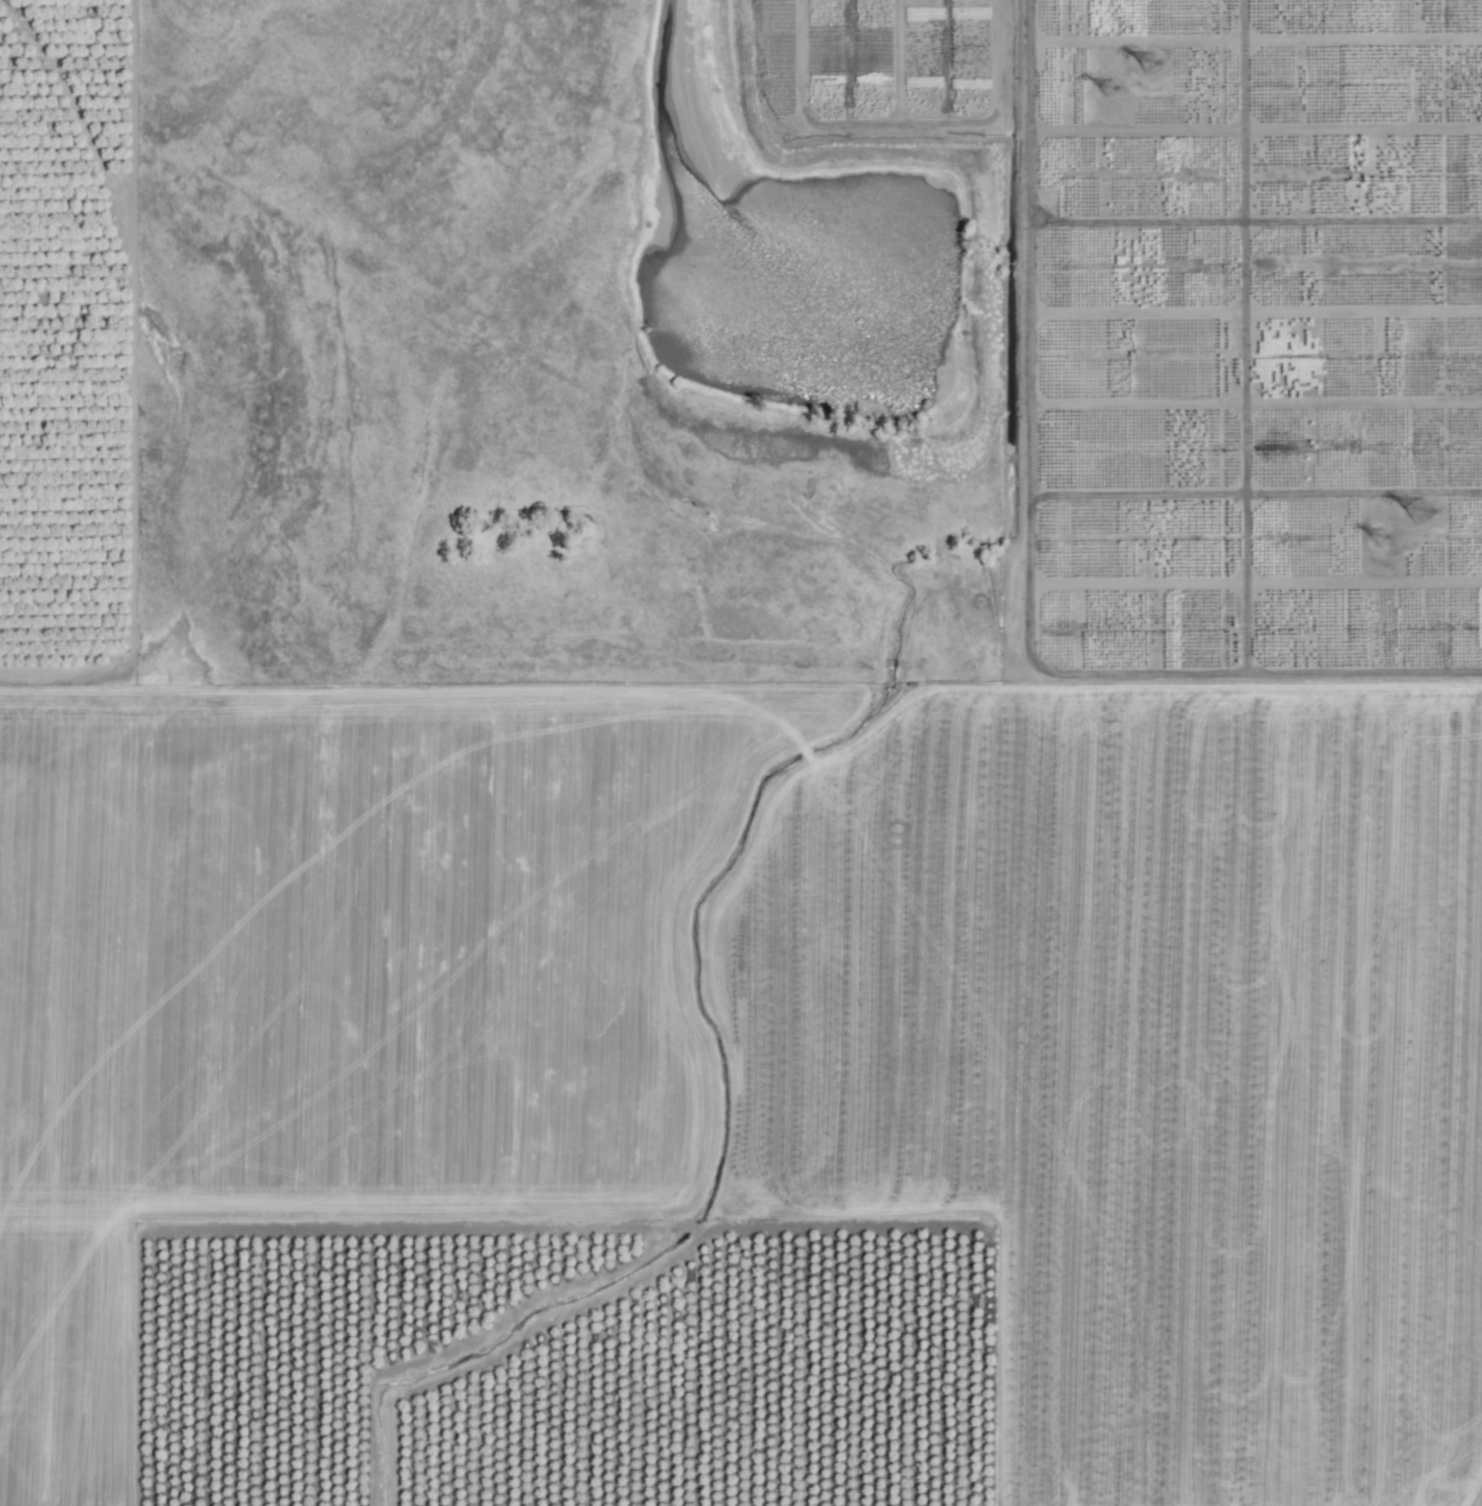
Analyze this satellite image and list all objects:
power tower: (1149, 64)
power tower: (1105, 88)
power tower: (1417, 513)
power tower: (1378, 537)

